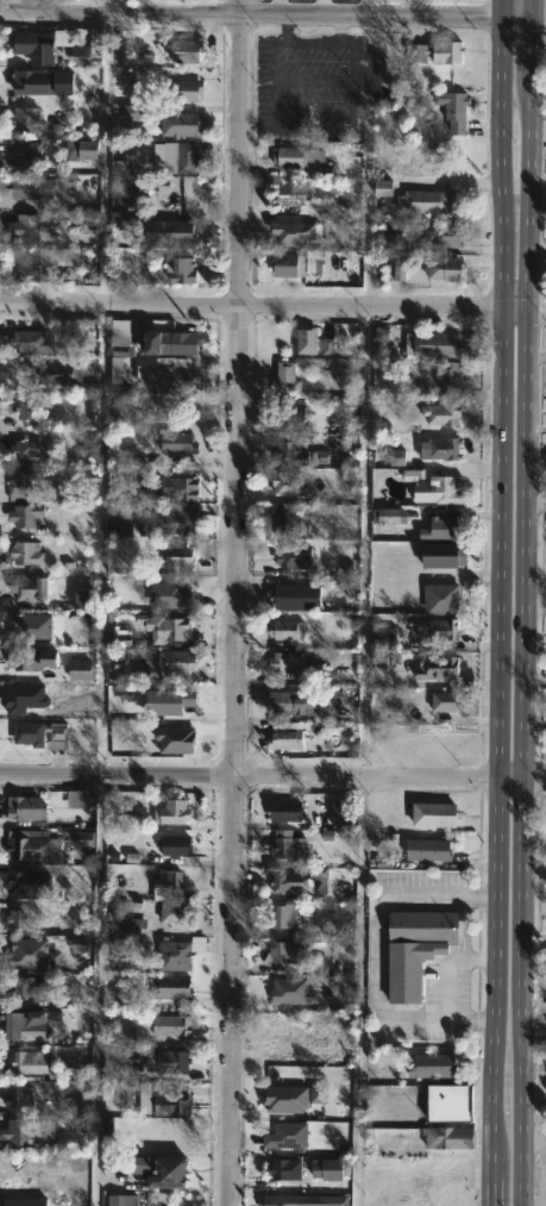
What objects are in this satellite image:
road: (277, 8)
road: (321, 8)
road: (272, 17)
road: (337, 26)
road: (307, 38)
building: (36, 43)
building: (188, 50)
building: (433, 51)
building: (86, 55)
building: (38, 83)
parking lot: (312, 86)
road: (274, 87)
building: (186, 89)
building: (452, 108)
building: (29, 120)
building: (181, 124)
building: (84, 149)
building: (26, 156)
building: (182, 156)
building: (289, 156)
building: (400, 165)
building: (31, 188)
building: (291, 193)
building: (422, 200)
building: (30, 229)
building: (171, 231)
building: (435, 231)
building: (293, 232)
building: (27, 262)
building: (288, 264)
building: (180, 269)
building: (443, 269)
road: (272, 308)
building: (34, 343)
building: (181, 343)
building: (310, 343)
building: (433, 344)
building: (269, 345)
road: (534, 354)
building: (56, 375)
building: (174, 376)
building: (448, 376)
building: (283, 377)
building: (33, 408)
building: (438, 413)
building: (285, 414)
building: (182, 443)
building: (437, 449)
building: (29, 451)
building: (287, 454)
building: (29, 481)
building: (283, 485)
building: (182, 489)
building: (435, 490)
building: (27, 517)
building: (127, 520)
building: (285, 520)
building: (171, 521)
building: (439, 530)
building: (30, 554)
building: (178, 556)
building: (435, 556)
building: (291, 557)
building: (33, 588)
building: (169, 596)
building: (294, 598)
building: (443, 598)
road: (240, 602)
road: (496, 602)
road: (520, 602)
building: (31, 626)
building: (163, 627)
building: (284, 630)
building: (438, 630)
building: (383, 638)
building: (31, 662)
building: (289, 664)
building: (175, 667)
building: (435, 668)
building: (133, 675)
building: (440, 701)
building: (280, 702)
building: (43, 735)
building: (284, 736)
building: (163, 737)
road: (272, 776)
building: (82, 799)
building: (27, 808)
building: (282, 810)
building: (174, 811)
building: (431, 812)
building: (332, 813)
building: (178, 845)
building: (30, 846)
building: (280, 846)
building: (425, 848)
building: (168, 879)
building: (287, 880)
building: (171, 912)
building: (282, 916)
building: (24, 918)
building: (412, 948)
building: (282, 951)
road: (378, 951)
building: (178, 952)
building: (31, 954)
road: (447, 966)
building: (171, 987)
road: (360, 992)
building: (176, 1025)
building: (30, 1027)
building: (291, 1045)
building: (25, 1061)
building: (174, 1061)
building: (429, 1064)
building: (19, 1099)
building: (168, 1100)
building: (445, 1102)
building: (18, 1132)
building: (283, 1135)
building: (445, 1137)
road: (423, 1151)
building: (281, 1169)
building: (169, 1173)
building: (124, 1200)
building: (24, 1201)

